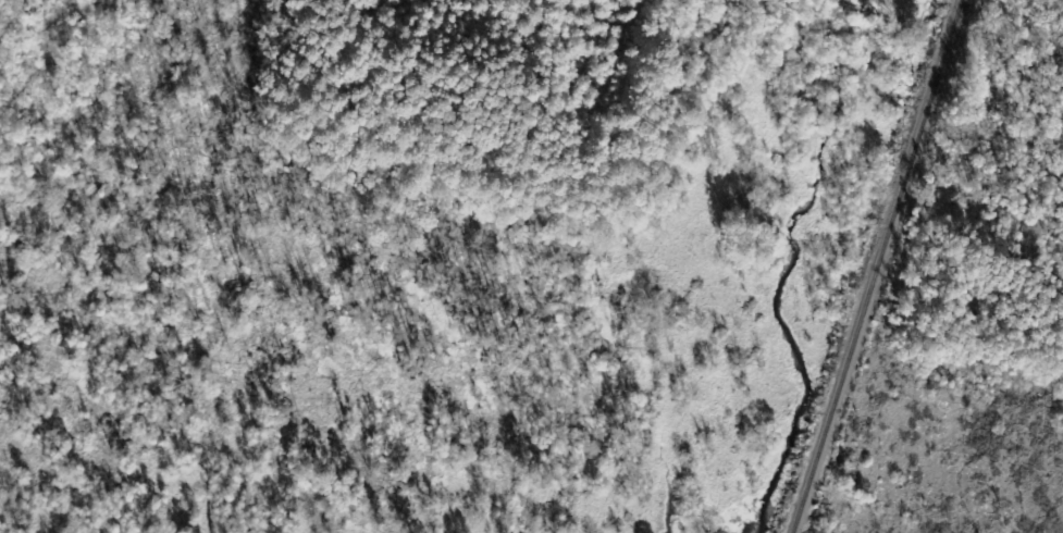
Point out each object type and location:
wastewater plant: (899, 8)
railway: (875, 265)

